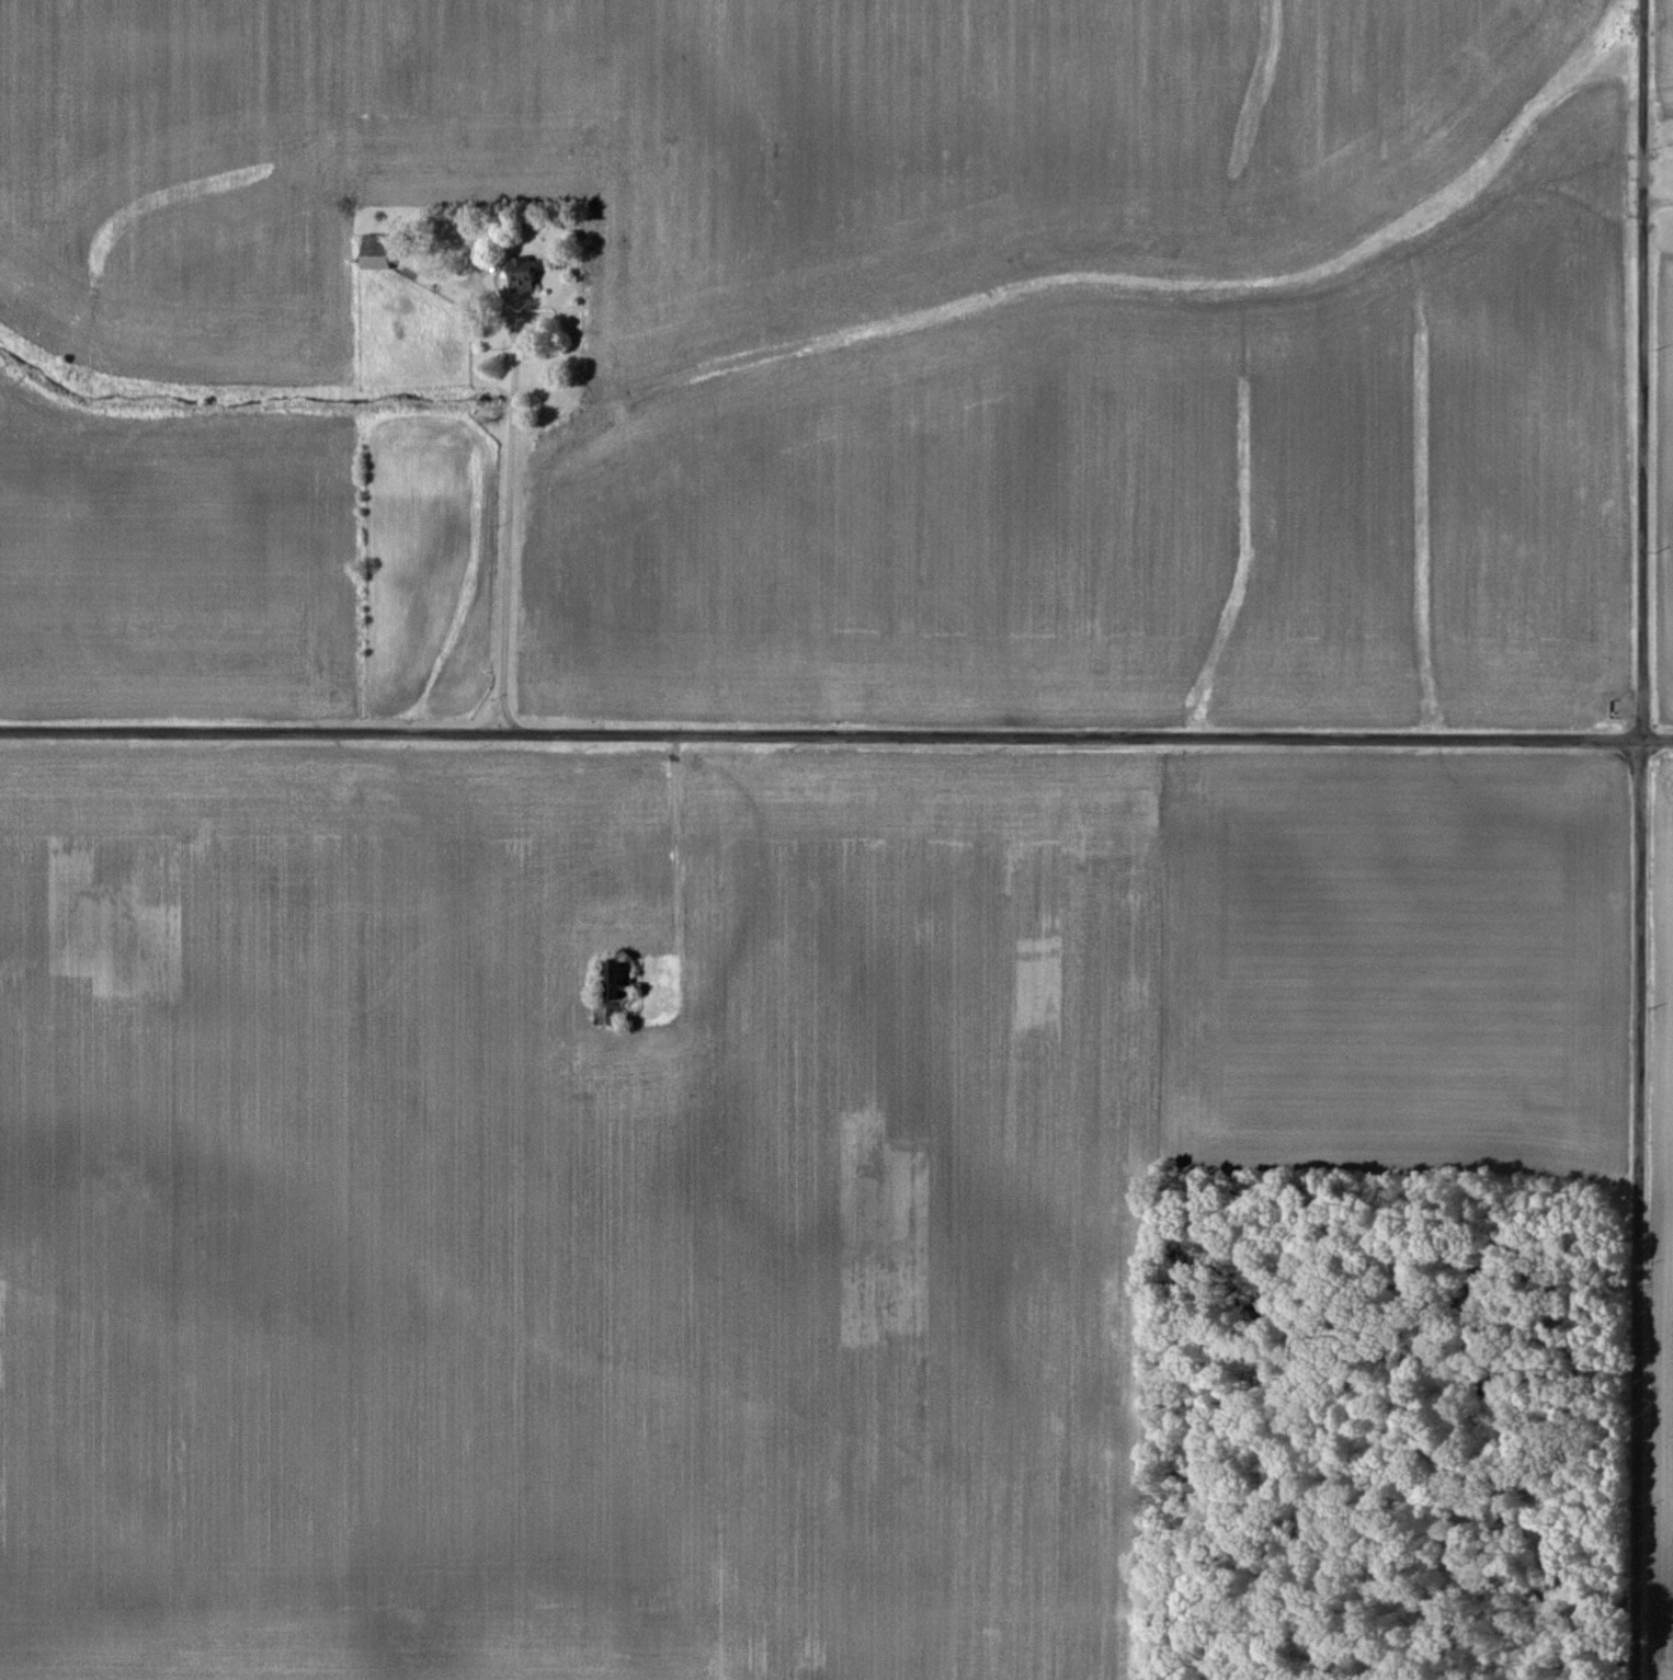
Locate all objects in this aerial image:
road: (1657, 203)
building: (515, 265)
road: (511, 507)
road: (509, 716)
road: (835, 738)
road: (1640, 839)
road: (675, 842)

